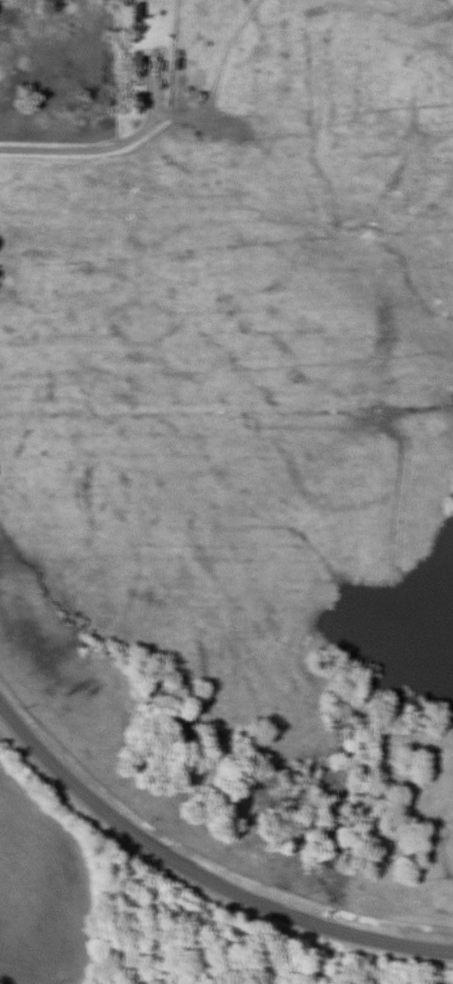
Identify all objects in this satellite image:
road: (201, 881)

